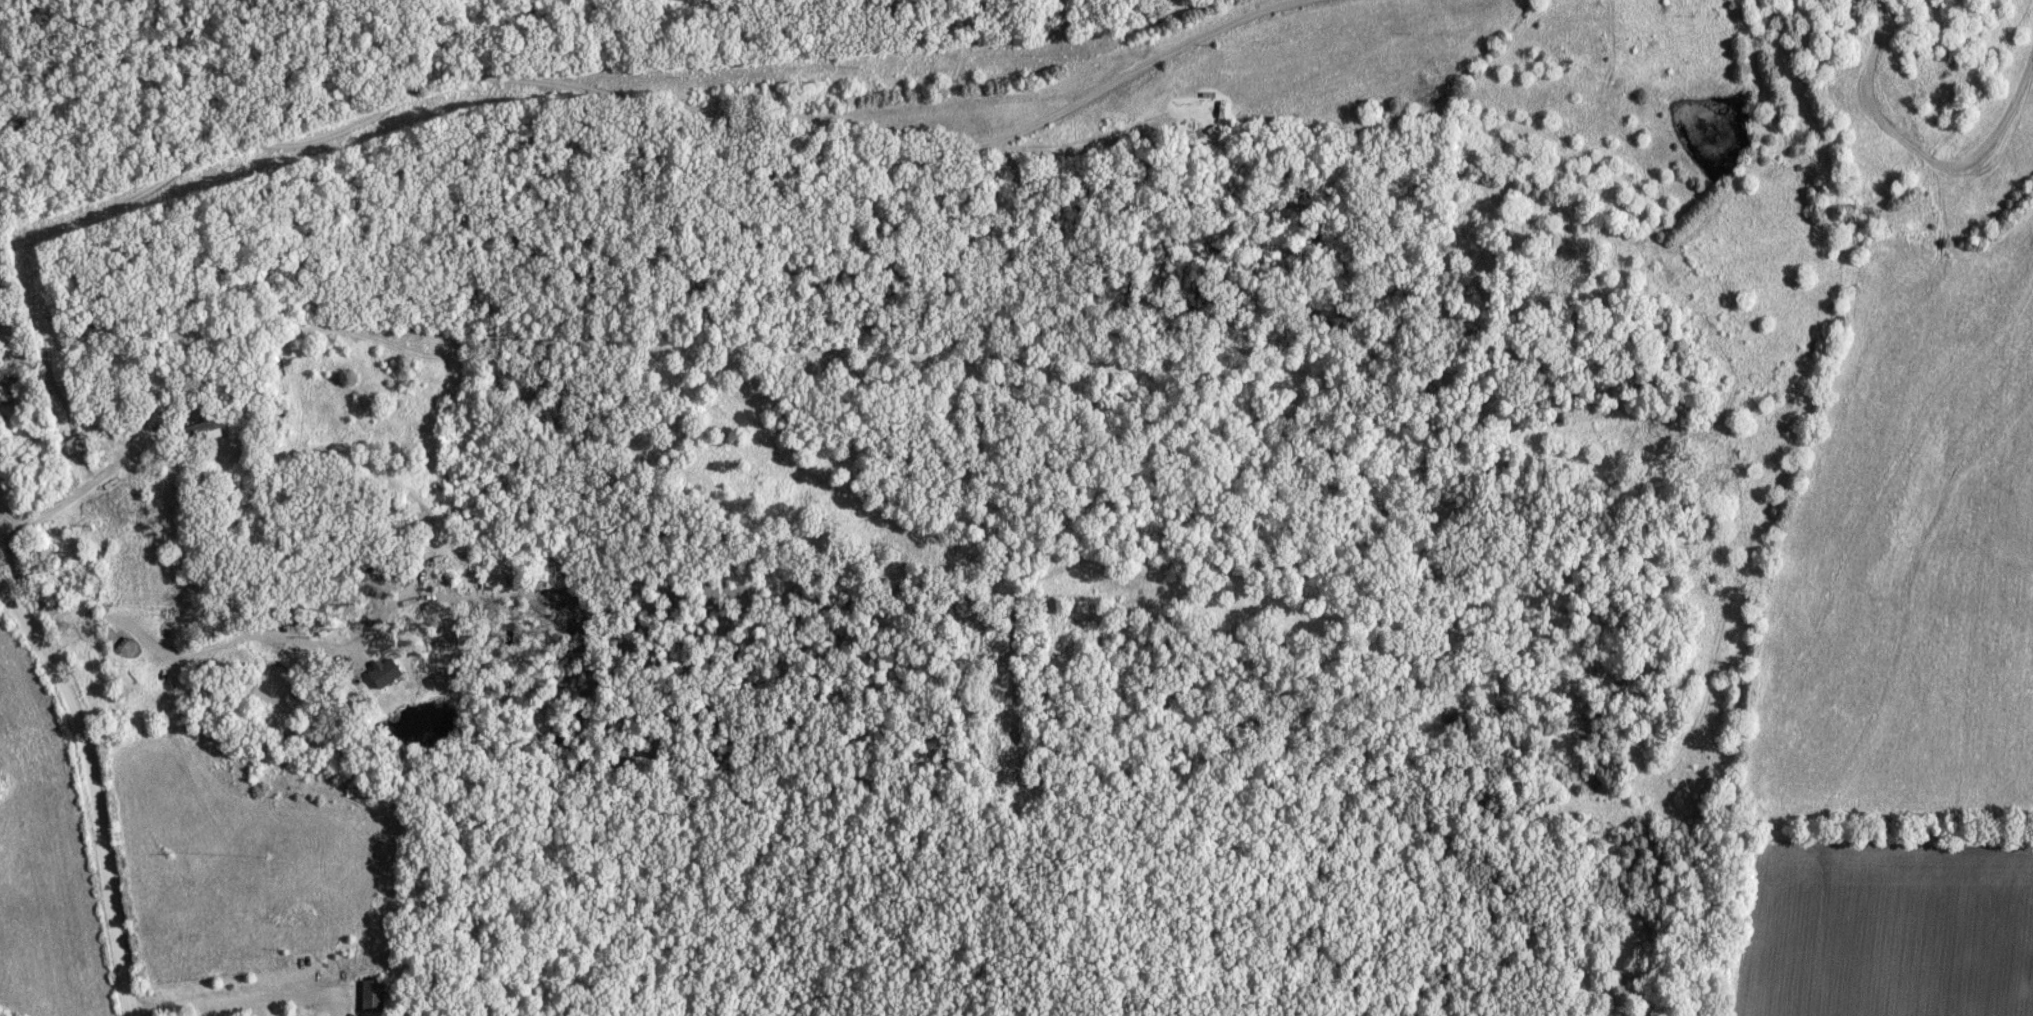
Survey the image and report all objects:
building: (1824, 4)
road: (666, 115)
building: (78, 334)
building: (200, 429)
building: (97, 554)
road: (91, 790)
road: (235, 992)
building: (371, 996)

